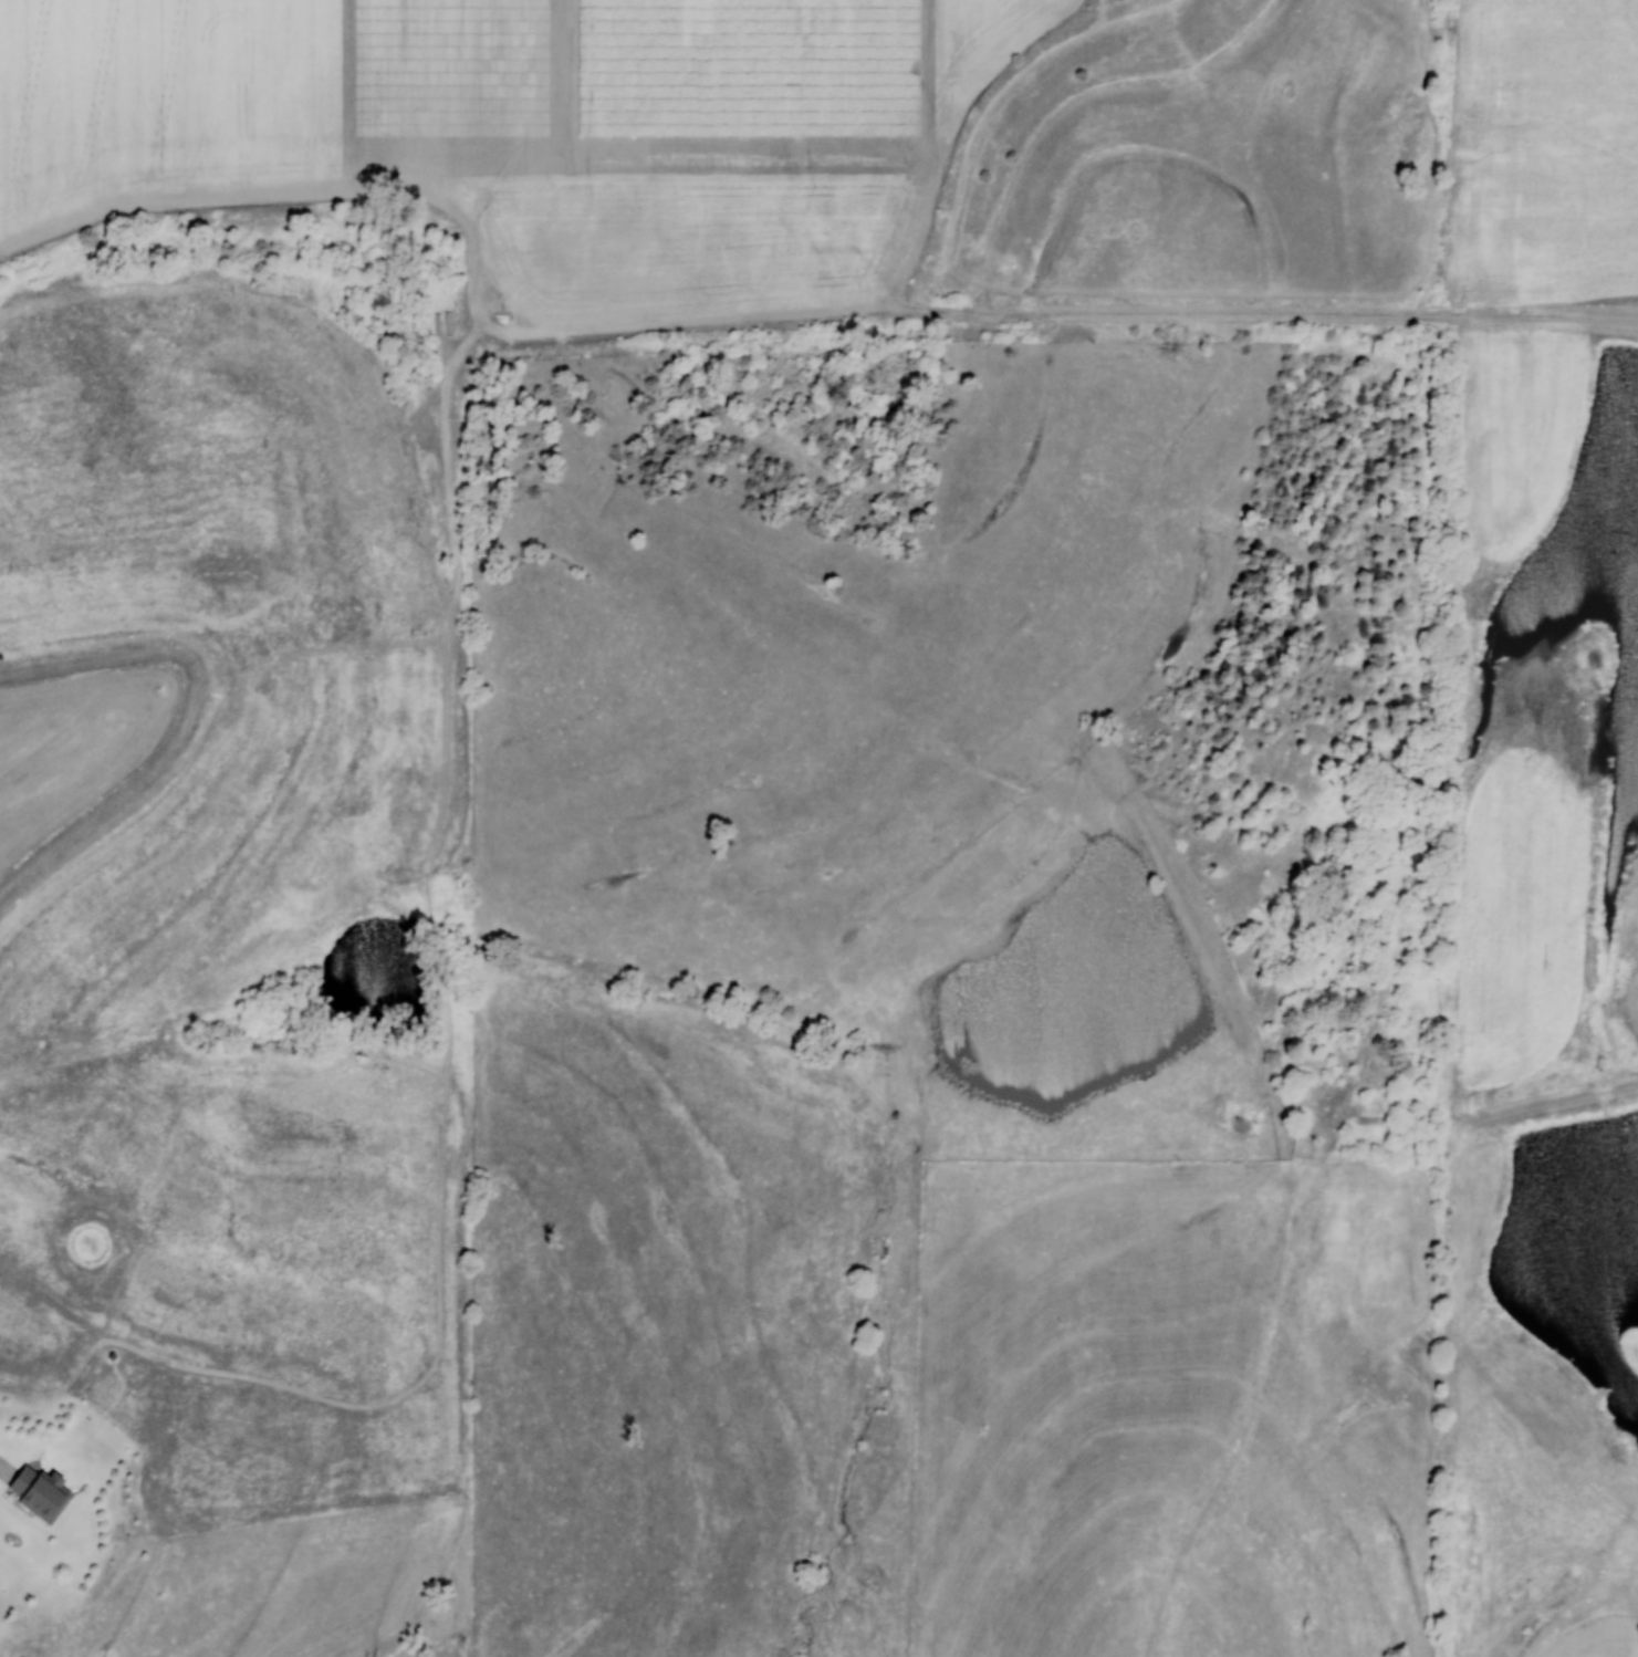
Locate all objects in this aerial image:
building: (1373, 865)
building: (39, 1494)

